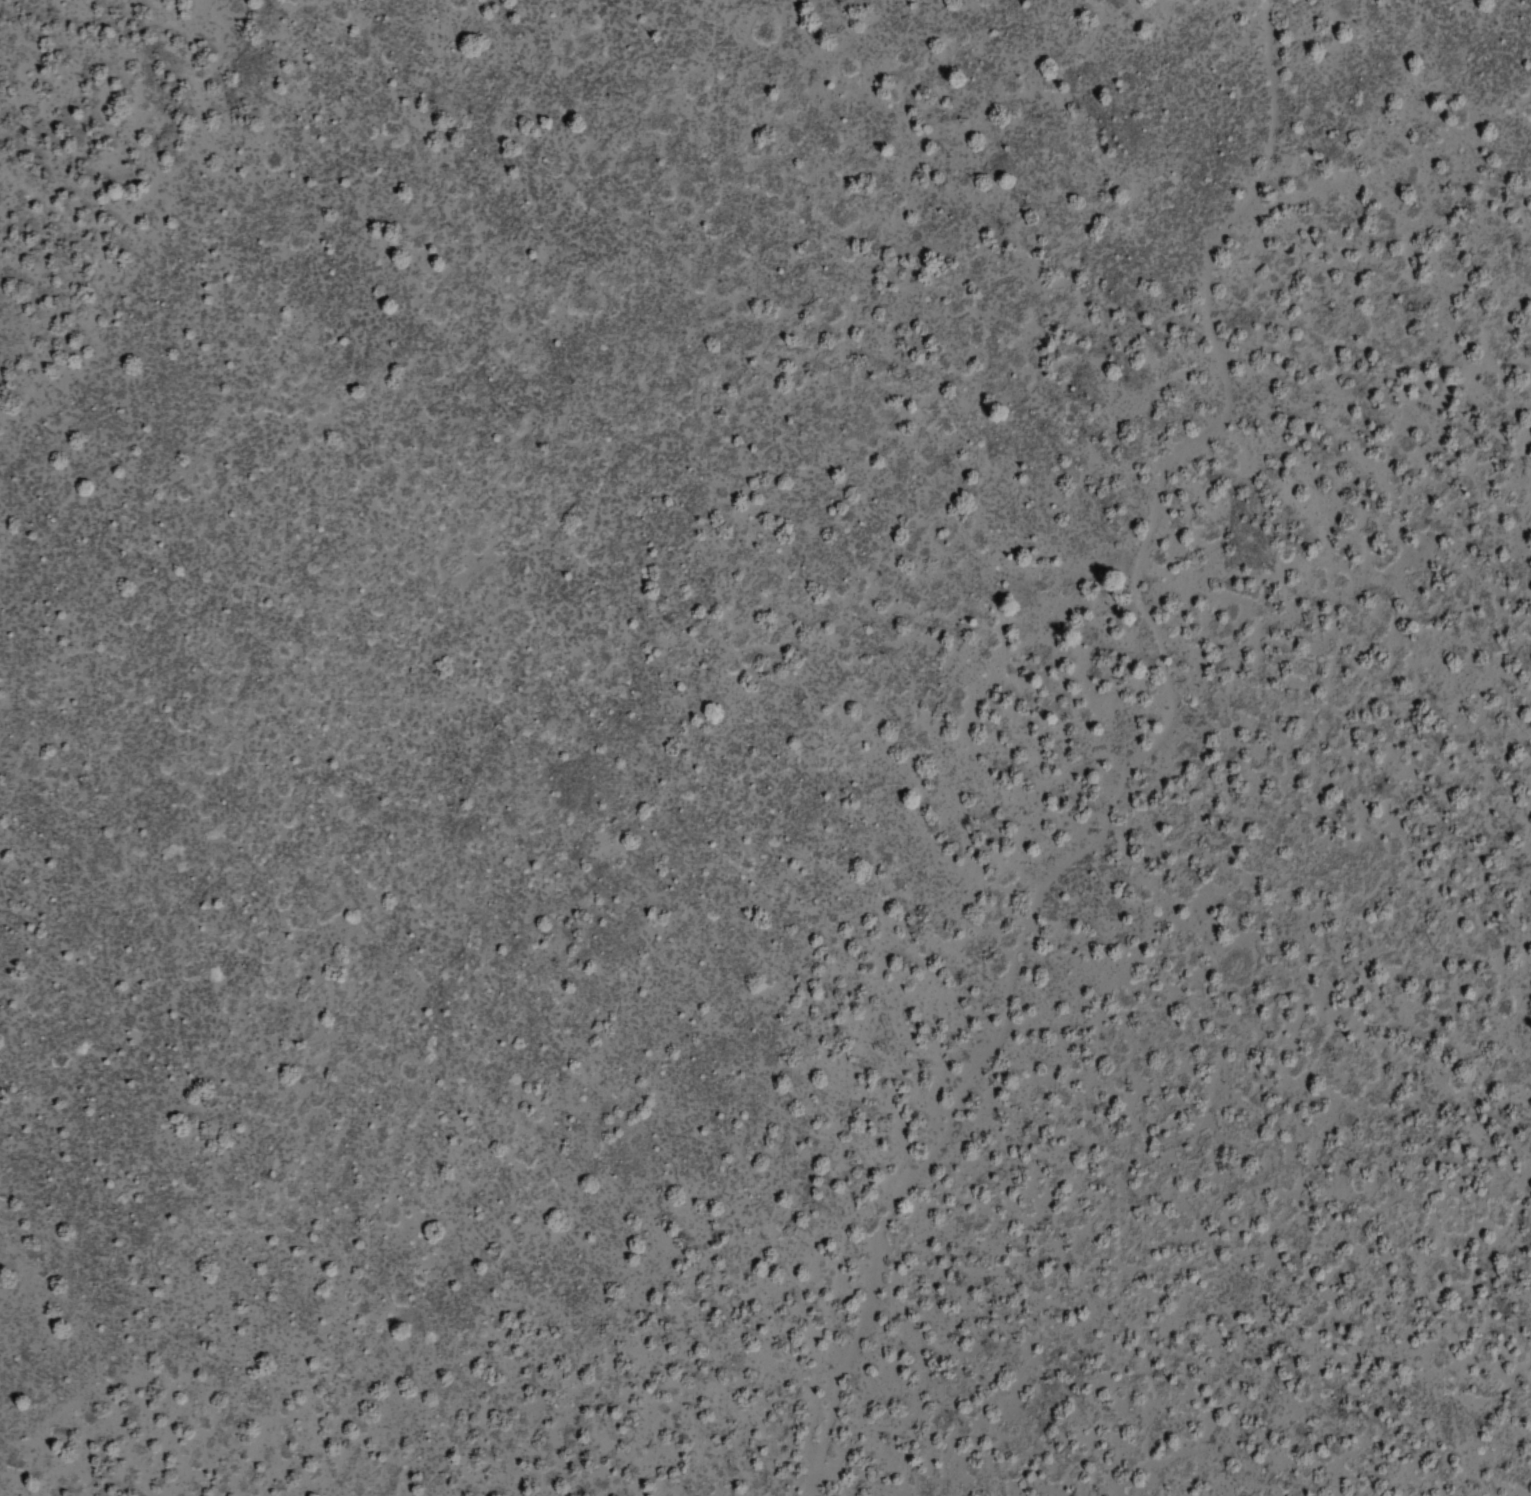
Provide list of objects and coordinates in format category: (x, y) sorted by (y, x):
road: (1140, 757)

